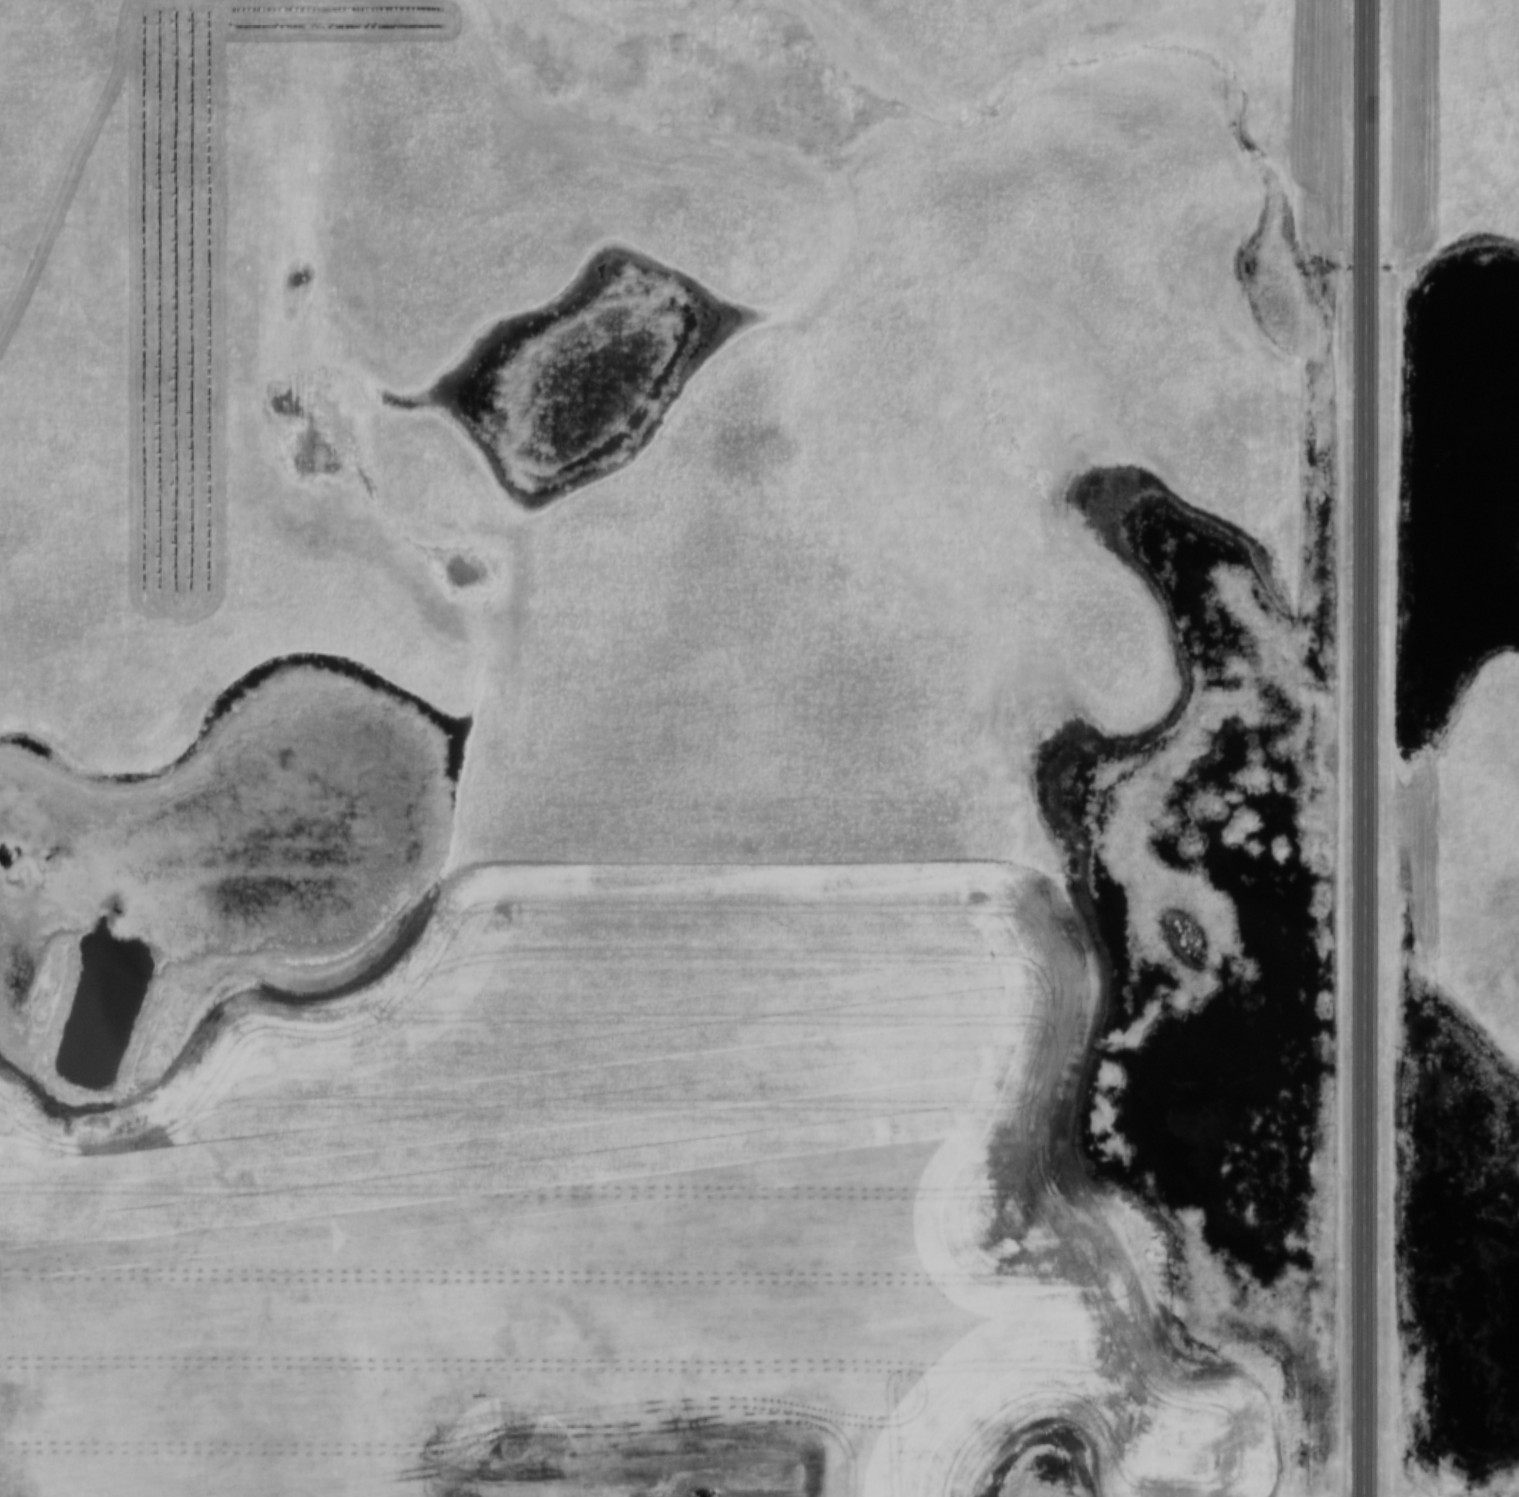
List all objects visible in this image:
road: (1371, 748)

